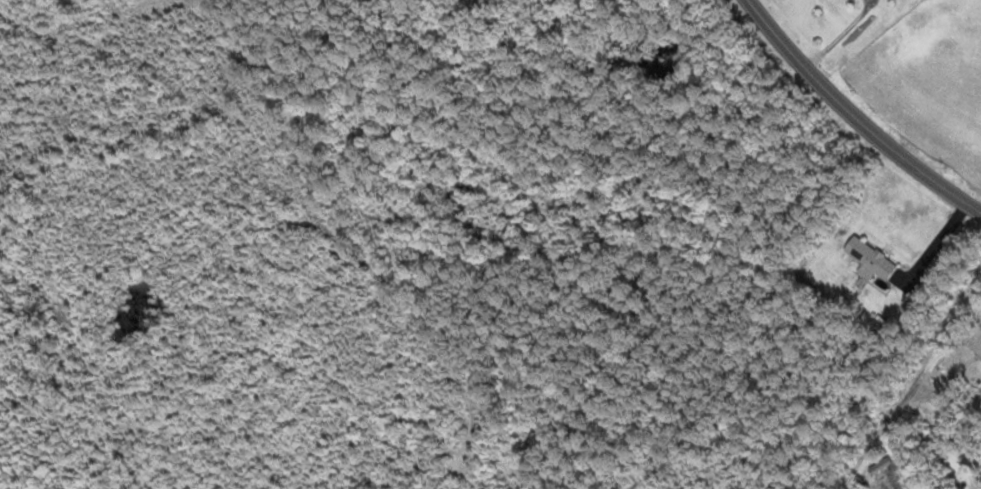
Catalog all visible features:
road: (855, 115)
building: (871, 258)

